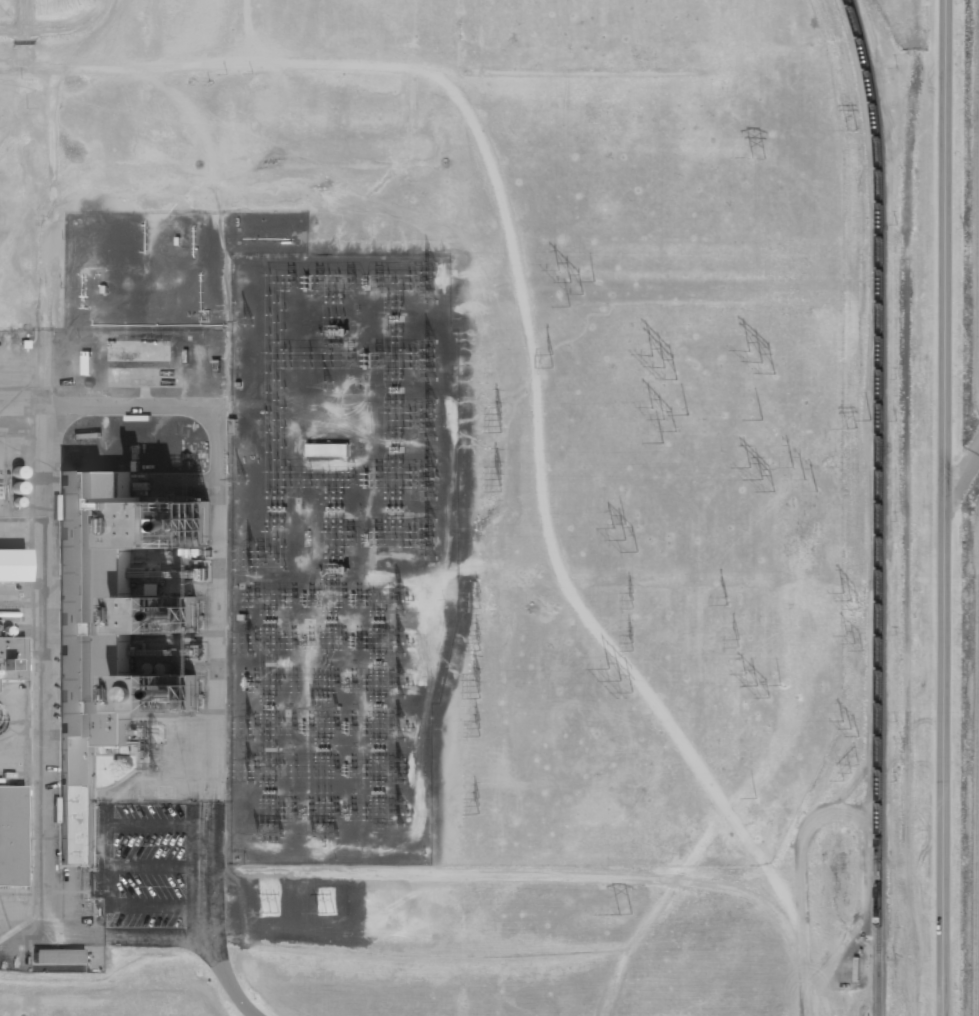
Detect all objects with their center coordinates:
power tower: (847, 132)
power tower: (752, 158)
power tower: (569, 281)
power tower: (660, 360)
power tower: (549, 361)
power tower: (753, 418)
power tower: (499, 422)
power tower: (846, 430)
power tower: (798, 479)
power tower: (756, 480)
building: (108, 481)
power tower: (496, 481)
railway: (874, 506)
road: (939, 507)
power plant: (461, 508)
building: (141, 521)
chimney: (204, 536)
power tower: (621, 537)
power substation: (336, 553)
building: (11, 564)
power tower: (627, 600)
power tower: (733, 600)
power tower: (476, 601)
power tower: (849, 601)
chimney: (195, 618)
power tower: (628, 643)
power tower: (475, 644)
power tower: (733, 644)
power tower: (849, 644)
power tower: (616, 682)
power tower: (474, 685)
power tower: (752, 686)
chimney: (191, 697)
power tower: (475, 728)
power tower: (844, 729)
power tower: (845, 773)
power tower: (473, 806)
building: (75, 808)
building: (11, 836)
power tower: (264, 912)
power tower: (320, 913)
power tower: (620, 914)
building: (57, 956)
road: (220, 976)

